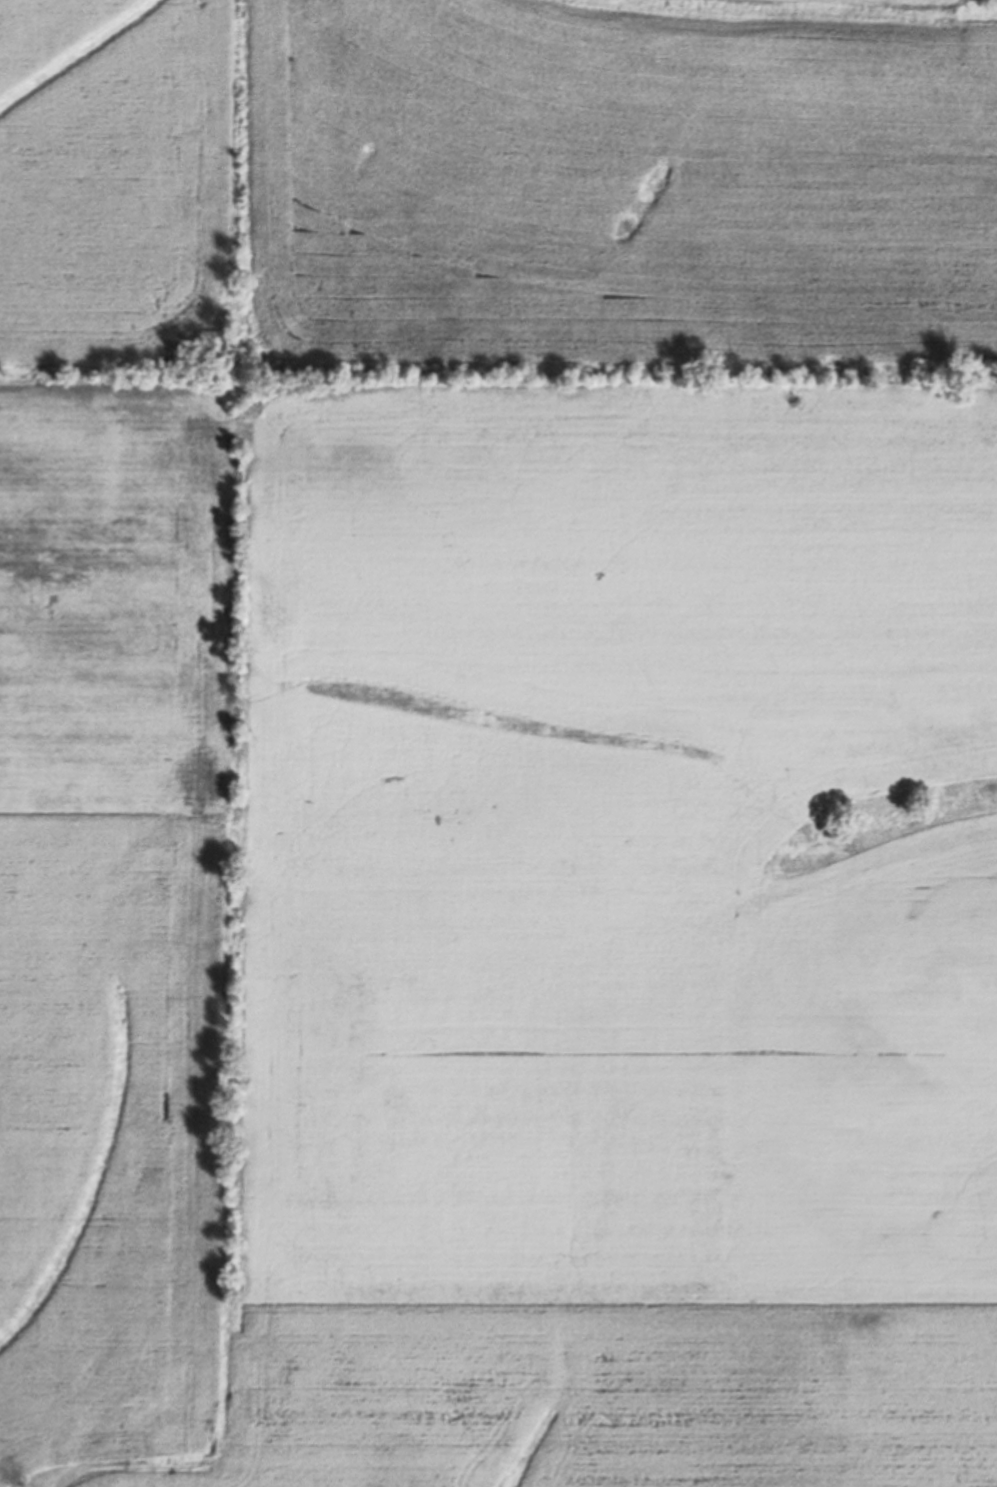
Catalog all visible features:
road: (218, 1195)

